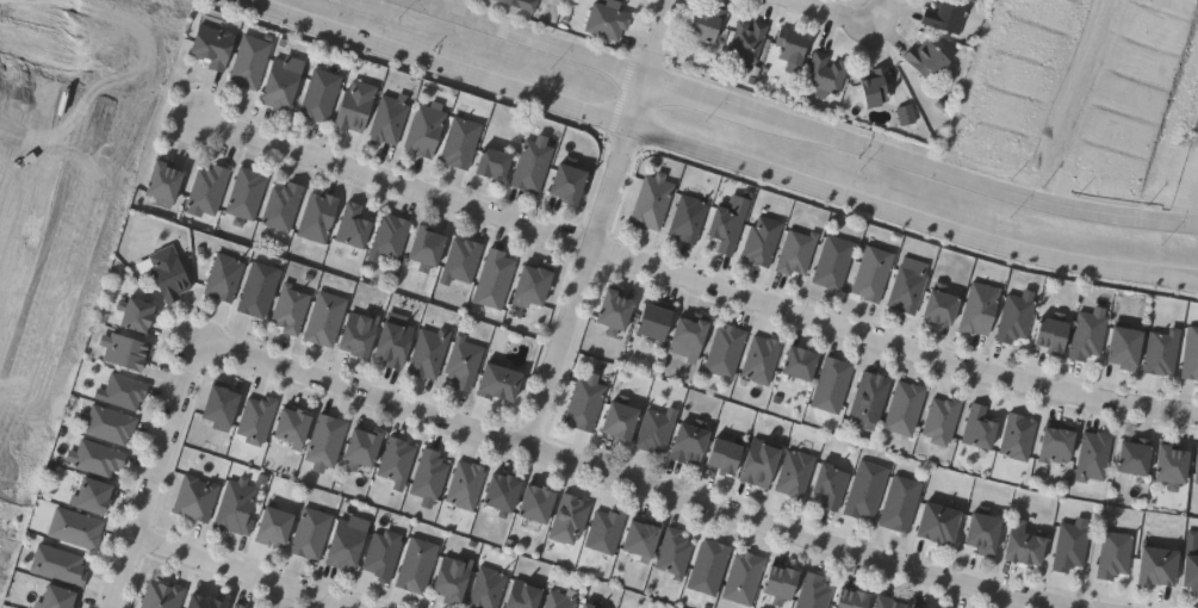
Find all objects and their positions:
building: (515, 4)
road: (445, 5)
road: (837, 11)
road: (871, 11)
building: (945, 15)
building: (608, 20)
building: (708, 24)
building: (747, 42)
building: (213, 45)
building: (794, 48)
road: (39, 49)
building: (929, 57)
building: (250, 61)
building: (826, 74)
building: (283, 81)
building: (879, 86)
building: (321, 94)
road: (1073, 98)
building: (356, 105)
building: (907, 113)
building: (390, 119)
road: (800, 125)
building: (426, 129)
building: (461, 141)
road: (52, 149)
road: (712, 154)
building: (496, 162)
building: (533, 163)
building: (165, 180)
building: (571, 180)
building: (209, 188)
building: (247, 192)
building: (652, 201)
building: (283, 205)
building: (318, 216)
building: (688, 217)
road: (596, 223)
building: (354, 225)
building: (727, 229)
building: (390, 236)
building: (763, 240)
building: (429, 247)
building: (797, 252)
building: (463, 260)
building: (834, 261)
building: (168, 273)
building: (874, 273)
building: (224, 277)
building: (495, 278)
road: (694, 279)
building: (534, 285)
building: (259, 289)
building: (908, 289)
building: (945, 304)
building: (981, 308)
building: (290, 309)
building: (617, 311)
building: (138, 314)
building: (1017, 316)
building: (325, 317)
building: (658, 319)
building: (360, 333)
building: (1075, 334)
building: (690, 337)
building: (395, 343)
building: (1129, 347)
building: (125, 350)
building: (726, 350)
building: (429, 352)
building: (1163, 352)
building: (1191, 354)
building: (762, 359)
building: (463, 361)
building: (803, 362)
building: (501, 381)
building: (833, 384)
building: (123, 391)
building: (871, 399)
building: (585, 402)
building: (222, 407)
building: (907, 408)
building: (256, 418)
building: (623, 418)
building: (943, 420)
building: (107, 424)
building: (294, 426)
building: (980, 428)
building: (657, 429)
building: (1019, 436)
building: (325, 441)
building: (693, 442)
building: (1059, 446)
building: (365, 447)
building: (728, 455)
building: (1093, 455)
building: (1138, 457)
building: (97, 458)
building: (1197, 458)
building: (397, 461)
building: (762, 463)
building: (1175, 466)
building: (796, 473)
road: (155, 476)
building: (429, 477)
road: (627, 480)
building: (466, 484)
building: (833, 485)
building: (867, 489)
building: (504, 492)
building: (95, 496)
building: (195, 500)
building: (540, 503)
building: (901, 503)
building: (236, 507)
building: (570, 519)
building: (943, 523)
building: (275, 526)
building: (75, 528)
building: (607, 531)
building: (988, 533)
building: (311, 534)
building: (645, 539)
building: (1029, 542)
building: (348, 544)
building: (1073, 545)
building: (675, 553)
building: (383, 554)
building: (1116, 554)
building: (58, 565)
building: (417, 565)
building: (1162, 566)
building: (710, 567)
building: (1193, 569)
road: (241, 573)
building: (744, 577)
building: (453, 578)
building: (488, 588)
building: (799, 588)
building: (162, 594)
building: (524, 594)
building: (57, 598)
building: (559, 600)
building: (869, 600)
building: (207, 602)
building: (238, 606)
building: (590, 606)
building: (584, 607)
building: (910, 607)

